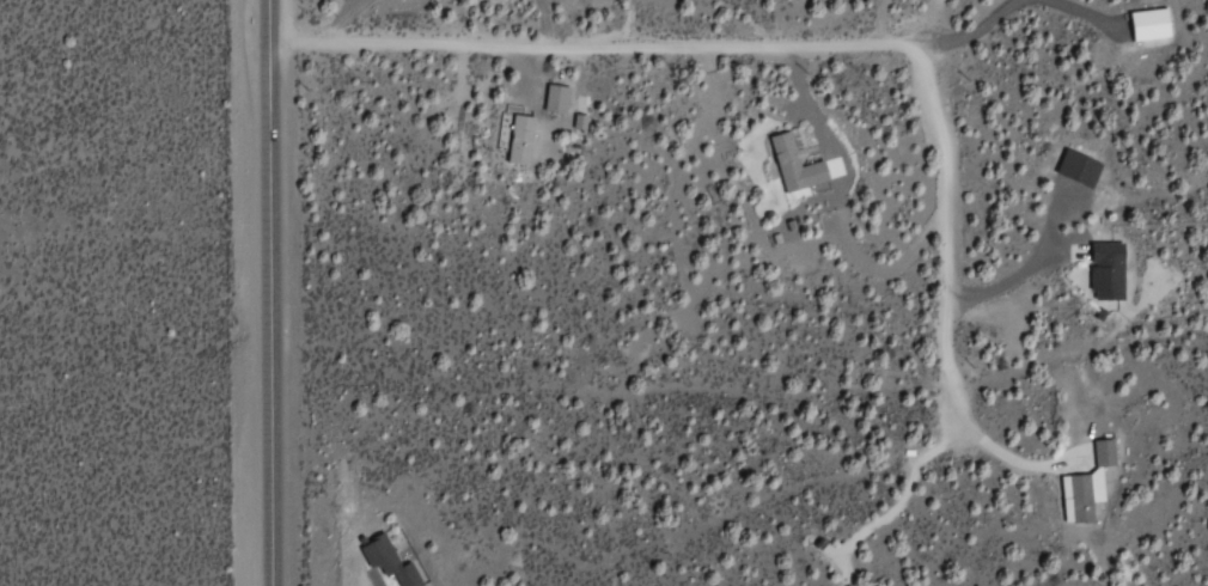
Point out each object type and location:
building: (1145, 26)
road: (780, 42)
building: (562, 103)
building: (527, 138)
building: (1084, 164)
building: (798, 167)
building: (834, 170)
building: (1112, 273)
road: (263, 293)
building: (1105, 435)
building: (1102, 454)
building: (1072, 501)
building: (395, 564)

